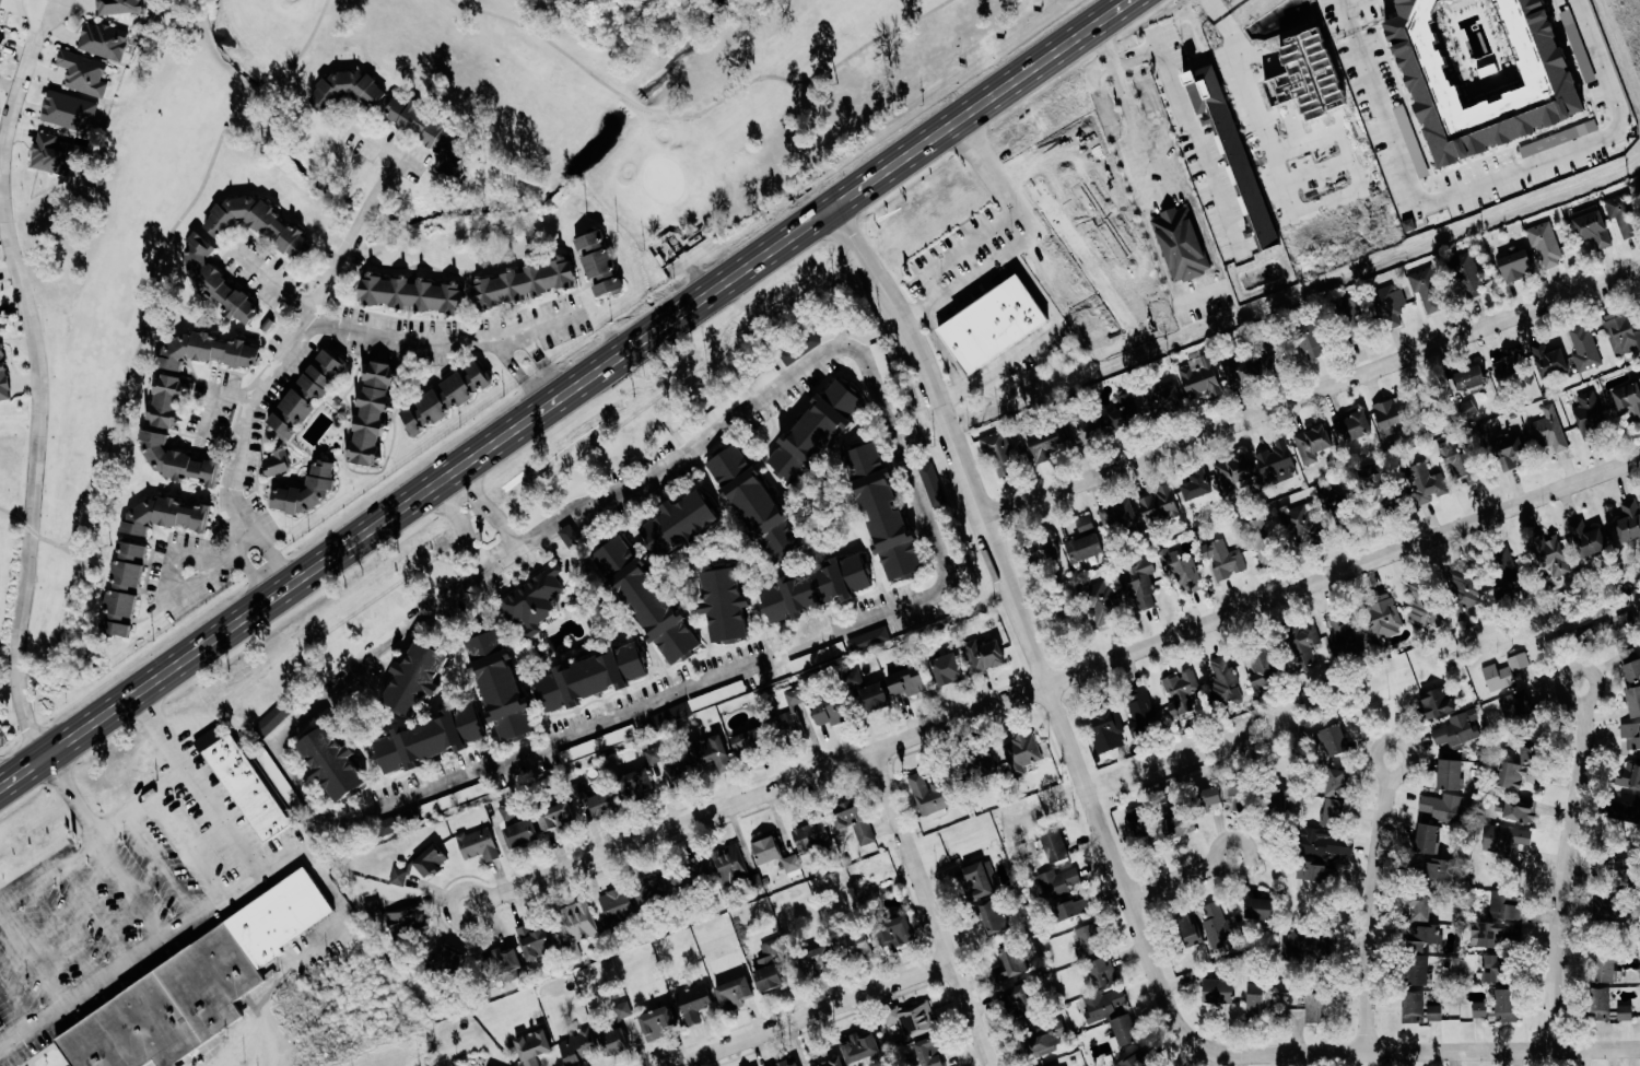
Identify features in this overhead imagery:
building: (0, 1)
building: (119, 7)
building: (103, 42)
building: (1, 44)
building: (1584, 48)
building: (1424, 49)
building: (83, 73)
building: (345, 91)
road: (1251, 102)
road: (1126, 105)
building: (72, 112)
road: (1187, 113)
road: (699, 115)
building: (420, 126)
building: (1414, 141)
building: (1232, 153)
building: (57, 154)
road: (1479, 185)
building: (1624, 218)
building: (256, 224)
building: (1592, 230)
road: (1027, 238)
building: (1180, 244)
building: (1544, 244)
road: (156, 256)
building: (598, 262)
building: (1516, 267)
building: (1467, 276)
building: (215, 282)
building: (524, 282)
building: (1427, 291)
building: (411, 293)
building: (1390, 306)
building: (1349, 320)
building: (989, 321)
building: (1, 329)
building: (1620, 332)
road: (389, 338)
building: (1311, 338)
road: (1034, 339)
road: (303, 340)
building: (799, 348)
road: (942, 348)
building: (1583, 348)
building: (206, 351)
road: (540, 360)
building: (1548, 360)
building: (1254, 361)
building: (1508, 365)
building: (4, 371)
road: (517, 371)
building: (883, 371)
road: (37, 374)
building: (1198, 379)
building: (1472, 380)
road: (560, 391)
road: (1311, 394)
building: (306, 395)
building: (445, 398)
building: (1162, 399)
building: (1627, 399)
building: (166, 400)
building: (1467, 409)
building: (1124, 412)
building: (370, 413)
building: (1392, 414)
building: (1588, 414)
building: (1351, 426)
building: (1082, 430)
building: (815, 431)
building: (1548, 431)
road: (919, 433)
building: (1311, 443)
building: (1046, 445)
building: (1508, 450)
building: (999, 455)
building: (174, 460)
building: (1276, 460)
building: (274, 462)
building: (1466, 468)
building: (1234, 473)
building: (1426, 483)
building: (932, 484)
building: (1195, 487)
building: (307, 491)
building: (1381, 493)
building: (757, 503)
road: (488, 505)
building: (1157, 506)
building: (1342, 508)
building: (883, 511)
building: (1117, 516)
road: (14, 518)
building: (1628, 520)
building: (681, 522)
road: (459, 524)
building: (1300, 526)
building: (948, 536)
building: (1586, 540)
building: (1083, 541)
building: (1262, 541)
road: (59, 547)
building: (1042, 549)
building: (141, 553)
building: (1551, 557)
building: (1228, 558)
building: (1502, 564)
road: (221, 571)
building: (1181, 572)
building: (1138, 583)
building: (1464, 586)
building: (817, 587)
building: (647, 600)
building: (532, 601)
building: (726, 604)
building: (1102, 605)
building: (1421, 605)
building: (1056, 618)
building: (1383, 618)
building: (1618, 628)
building: (1342, 636)
building: (869, 641)
road: (1034, 644)
building: (1303, 644)
road: (786, 651)
building: (984, 656)
building: (816, 657)
building: (1630, 665)
building: (1258, 666)
building: (947, 669)
building: (1503, 672)
building: (1524, 675)
building: (590, 677)
building: (415, 678)
building: (857, 680)
building: (1223, 680)
road: (1056, 681)
building: (906, 682)
building: (501, 686)
building: (1180, 692)
building: (875, 696)
building: (795, 698)
building: (1633, 701)
building: (1434, 704)
building: (1139, 706)
building: (1514, 707)
building: (830, 711)
building: (272, 718)
building: (788, 725)
building: (1104, 725)
building: (1456, 726)
building: (1630, 736)
building: (429, 738)
building: (1334, 740)
building: (749, 741)
building: (715, 749)
building: (1534, 751)
building: (1022, 752)
building: (654, 755)
building: (333, 762)
building: (270, 763)
building: (980, 768)
building: (1449, 774)
building: (680, 775)
building: (1518, 775)
building: (1629, 776)
road: (2, 777)
building: (667, 780)
road: (194, 782)
building: (632, 783)
building: (243, 784)
building: (1337, 784)
building: (1240, 789)
building: (932, 795)
building: (1211, 796)
building: (1276, 801)
road: (142, 804)
building: (602, 804)
building: (1439, 807)
building: (1626, 810)
building: (508, 811)
building: (1519, 811)
building: (1334, 812)
building: (557, 819)
building: (856, 820)
building: (1181, 824)
building: (390, 825)
building: (1143, 829)
building: (520, 833)
building: (810, 833)
building: (1504, 837)
building: (1427, 839)
road: (90, 842)
building: (478, 844)
building: (1317, 844)
building: (1053, 847)
building: (766, 850)
building: (430, 860)
building: (790, 864)
building: (1617, 866)
building: (731, 867)
building: (1438, 868)
road: (1574, 868)
building: (1319, 872)
building: (689, 875)
building: (400, 876)
road: (1185, 879)
building: (979, 880)
building: (1057, 882)
building: (654, 891)
building: (1605, 903)
building: (616, 904)
building: (1418, 905)
building: (1506, 905)
road: (937, 907)
building: (375, 909)
building: (1073, 909)
building: (1265, 910)
road: (1370, 913)
building: (988, 916)
building: (576, 921)
building: (405, 923)
building: (1215, 928)
building: (1601, 929)
building: (1187, 930)
building: (894, 932)
building: (1492, 934)
building: (1419, 937)
building: (1090, 939)
building: (536, 941)
building: (856, 947)
building: (1305, 947)
road: (149, 948)
road: (313, 951)
building: (815, 961)
building: (1009, 962)
building: (447, 963)
building: (503, 963)
building: (1496, 968)
building: (1603, 968)
building: (1416, 970)
building: (1101, 972)
building: (769, 979)
building: (189, 987)
building: (1217, 991)
building: (733, 994)
building: (1256, 1000)
building: (693, 1003)
building: (1020, 1003)
building: (1509, 1005)
building: (1606, 1006)
road: (15, 1008)
building: (1317, 1008)
building: (1419, 1008)
building: (1481, 1010)
building: (621, 1011)
road: (819, 1014)
building: (1111, 1015)
building: (911, 1021)
building: (658, 1023)
building: (1046, 1038)
building: (614, 1042)
building: (577, 1046)
building: (532, 1047)
road: (1446, 1050)
building: (862, 1051)
building: (930, 1053)
building: (831, 1063)
building: (783, 1064)
building: (799, 1065)

